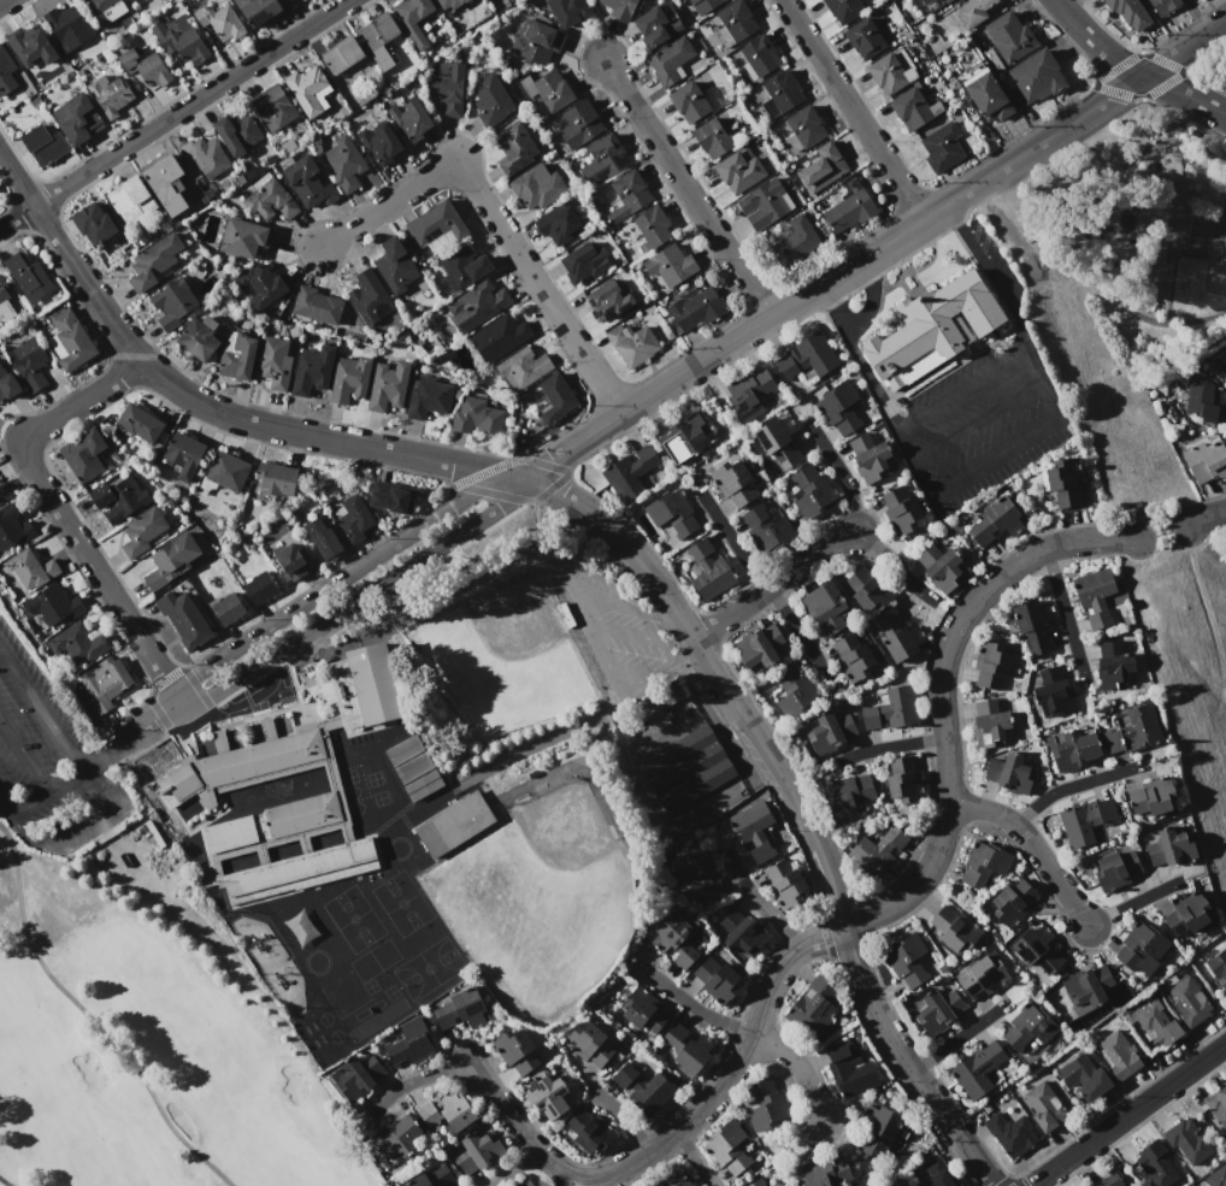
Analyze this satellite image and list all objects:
building: (136, 1)
building: (926, 1)
road: (4, 2)
building: (449, 4)
building: (703, 6)
building: (1162, 6)
building: (618, 7)
building: (843, 8)
building: (105, 10)
building: (258, 10)
building: (568, 11)
building: (972, 11)
building: (1127, 12)
building: (412, 19)
building: (220, 22)
building: (733, 23)
building: (659, 24)
building: (66, 29)
building: (377, 31)
building: (1009, 36)
building: (179, 37)
building: (865, 37)
building: (535, 42)
building: (33, 47)
building: (341, 54)
building: (760, 54)
building: (670, 59)
building: (145, 66)
road: (1131, 69)
building: (892, 71)
building: (6, 72)
building: (1036, 76)
building: (448, 87)
building: (307, 90)
building: (548, 90)
building: (780, 93)
building: (110, 95)
building: (986, 95)
building: (490, 101)
building: (692, 101)
building: (273, 107)
building: (913, 107)
road: (853, 108)
road: (173, 113)
building: (81, 119)
building: (411, 119)
building: (579, 124)
building: (803, 128)
building: (237, 132)
building: (712, 137)
building: (381, 142)
building: (43, 144)
building: (942, 147)
building: (515, 148)
building: (204, 155)
building: (603, 159)
building: (343, 164)
road: (652, 165)
building: (823, 167)
building: (742, 169)
building: (307, 182)
building: (166, 185)
building: (537, 187)
road: (685, 188)
building: (625, 195)
building: (130, 199)
building: (270, 199)
building: (764, 203)
building: (848, 210)
road: (950, 212)
road: (494, 218)
building: (93, 223)
building: (435, 224)
building: (559, 224)
building: (652, 228)
park: (1143, 235)
building: (241, 237)
building: (796, 241)
road: (872, 249)
building: (154, 261)
building: (584, 261)
building: (394, 266)
building: (667, 266)
building: (462, 269)
building: (28, 276)
building: (261, 285)
building: (370, 296)
building: (5, 300)
building: (607, 300)
building: (172, 303)
building: (316, 305)
building: (477, 306)
building: (694, 308)
building: (933, 329)
building: (199, 337)
building: (499, 337)
building: (71, 341)
building: (630, 343)
road: (1025, 349)
building: (236, 356)
building: (806, 358)
road: (856, 358)
building: (275, 361)
building: (1220, 362)
building: (28, 364)
building: (523, 368)
building: (311, 371)
building: (349, 378)
building: (7, 384)
building: (385, 389)
building: (748, 393)
building: (428, 397)
building: (555, 399)
parking lot: (967, 399)
building: (1204, 401)
road: (201, 403)
building: (837, 406)
road: (978, 415)
building: (476, 417)
building: (138, 423)
building: (690, 433)
building: (777, 442)
building: (182, 453)
building: (83, 455)
building: (871, 456)
road: (995, 458)
building: (1204, 459)
road: (838, 470)
building: (627, 472)
building: (224, 474)
building: (276, 479)
building: (733, 479)
building: (1062, 483)
building: (812, 490)
building: (4, 492)
building: (391, 497)
building: (118, 498)
building: (901, 509)
road: (58, 512)
building: (671, 514)
building: (353, 518)
road: (1206, 518)
building: (996, 520)
building: (765, 526)
building: (13, 527)
building: (142, 531)
road: (1162, 533)
building: (322, 537)
road: (884, 559)
building: (172, 560)
building: (293, 561)
building: (938, 566)
building: (30, 568)
building: (706, 570)
road: (572, 577)
road: (342, 579)
road: (759, 579)
road: (773, 582)
building: (258, 588)
building: (867, 589)
building: (1096, 597)
road: (356, 601)
building: (53, 606)
road: (625, 606)
building: (826, 607)
building: (226, 608)
road: (659, 610)
road: (1063, 610)
building: (183, 619)
building: (1033, 625)
road: (633, 632)
building: (897, 636)
building: (77, 644)
building: (760, 648)
road: (684, 649)
park: (503, 655)
building: (853, 655)
road: (607, 666)
building: (1112, 666)
building: (994, 667)
building: (105, 683)
building: (789, 690)
building: (1051, 691)
building: (652, 702)
road: (41, 706)
building: (888, 708)
road: (145, 722)
building: (989, 724)
building: (1128, 730)
building: (829, 732)
road: (890, 745)
building: (1072, 750)
road: (24, 753)
road: (96, 756)
parking lot: (49, 765)
building: (685, 767)
building: (425, 771)
building: (1008, 773)
building: (226, 774)
building: (902, 779)
road: (1072, 784)
road: (46, 790)
building: (848, 796)
building: (1149, 799)
road: (796, 802)
road: (6, 804)
building: (750, 819)
building: (1088, 824)
road: (77, 825)
building: (452, 825)
building: (895, 836)
road: (1031, 843)
building: (1168, 848)
building: (760, 854)
building: (868, 856)
building: (984, 863)
building: (690, 865)
building: (1115, 869)
road: (920, 877)
building: (785, 883)
building: (708, 890)
park: (538, 902)
road: (759, 902)
road: (1132, 902)
building: (1009, 903)
building: (1186, 917)
building: (951, 931)
building: (673, 932)
building: (737, 933)
building: (1139, 949)
building: (1037, 952)
building: (684, 957)
building: (908, 961)
building: (1218, 969)
building: (980, 976)
building: (715, 980)
park: (130, 986)
building: (1089, 990)
building: (1185, 1001)
road: (697, 1007)
building: (815, 1007)
building: (936, 1008)
building: (641, 1009)
building: (458, 1014)
building: (1154, 1022)
building: (672, 1031)
building: (1027, 1032)
road: (956, 1037)
building: (406, 1043)
building: (589, 1043)
building: (517, 1051)
building: (692, 1052)
building: (1116, 1055)
road: (796, 1064)
building: (850, 1067)
building: (979, 1072)
building: (623, 1074)
building: (356, 1075)
road: (412, 1078)
building: (1083, 1079)
building: (652, 1093)
building: (546, 1094)
building: (764, 1101)
road: (1119, 1102)
building: (1043, 1108)
building: (1218, 1108)
building: (426, 1113)
building: (456, 1114)
road: (1127, 1114)
road: (620, 1116)
road: (1139, 1122)
road: (517, 1126)
building: (588, 1128)
building: (1008, 1131)
building: (878, 1132)
building: (395, 1139)
building: (1185, 1143)
building: (730, 1150)
building: (476, 1152)
road: (694, 1156)
building: (1155, 1164)
road: (511, 1167)
building: (825, 1172)
building: (932, 1174)
building: (441, 1175)
road: (1008, 1175)
building: (1215, 1176)
building: (670, 1178)
building: (767, 1180)
building: (1110, 1180)
building: (418, 1181)
building: (529, 1182)
building: (903, 1184)

